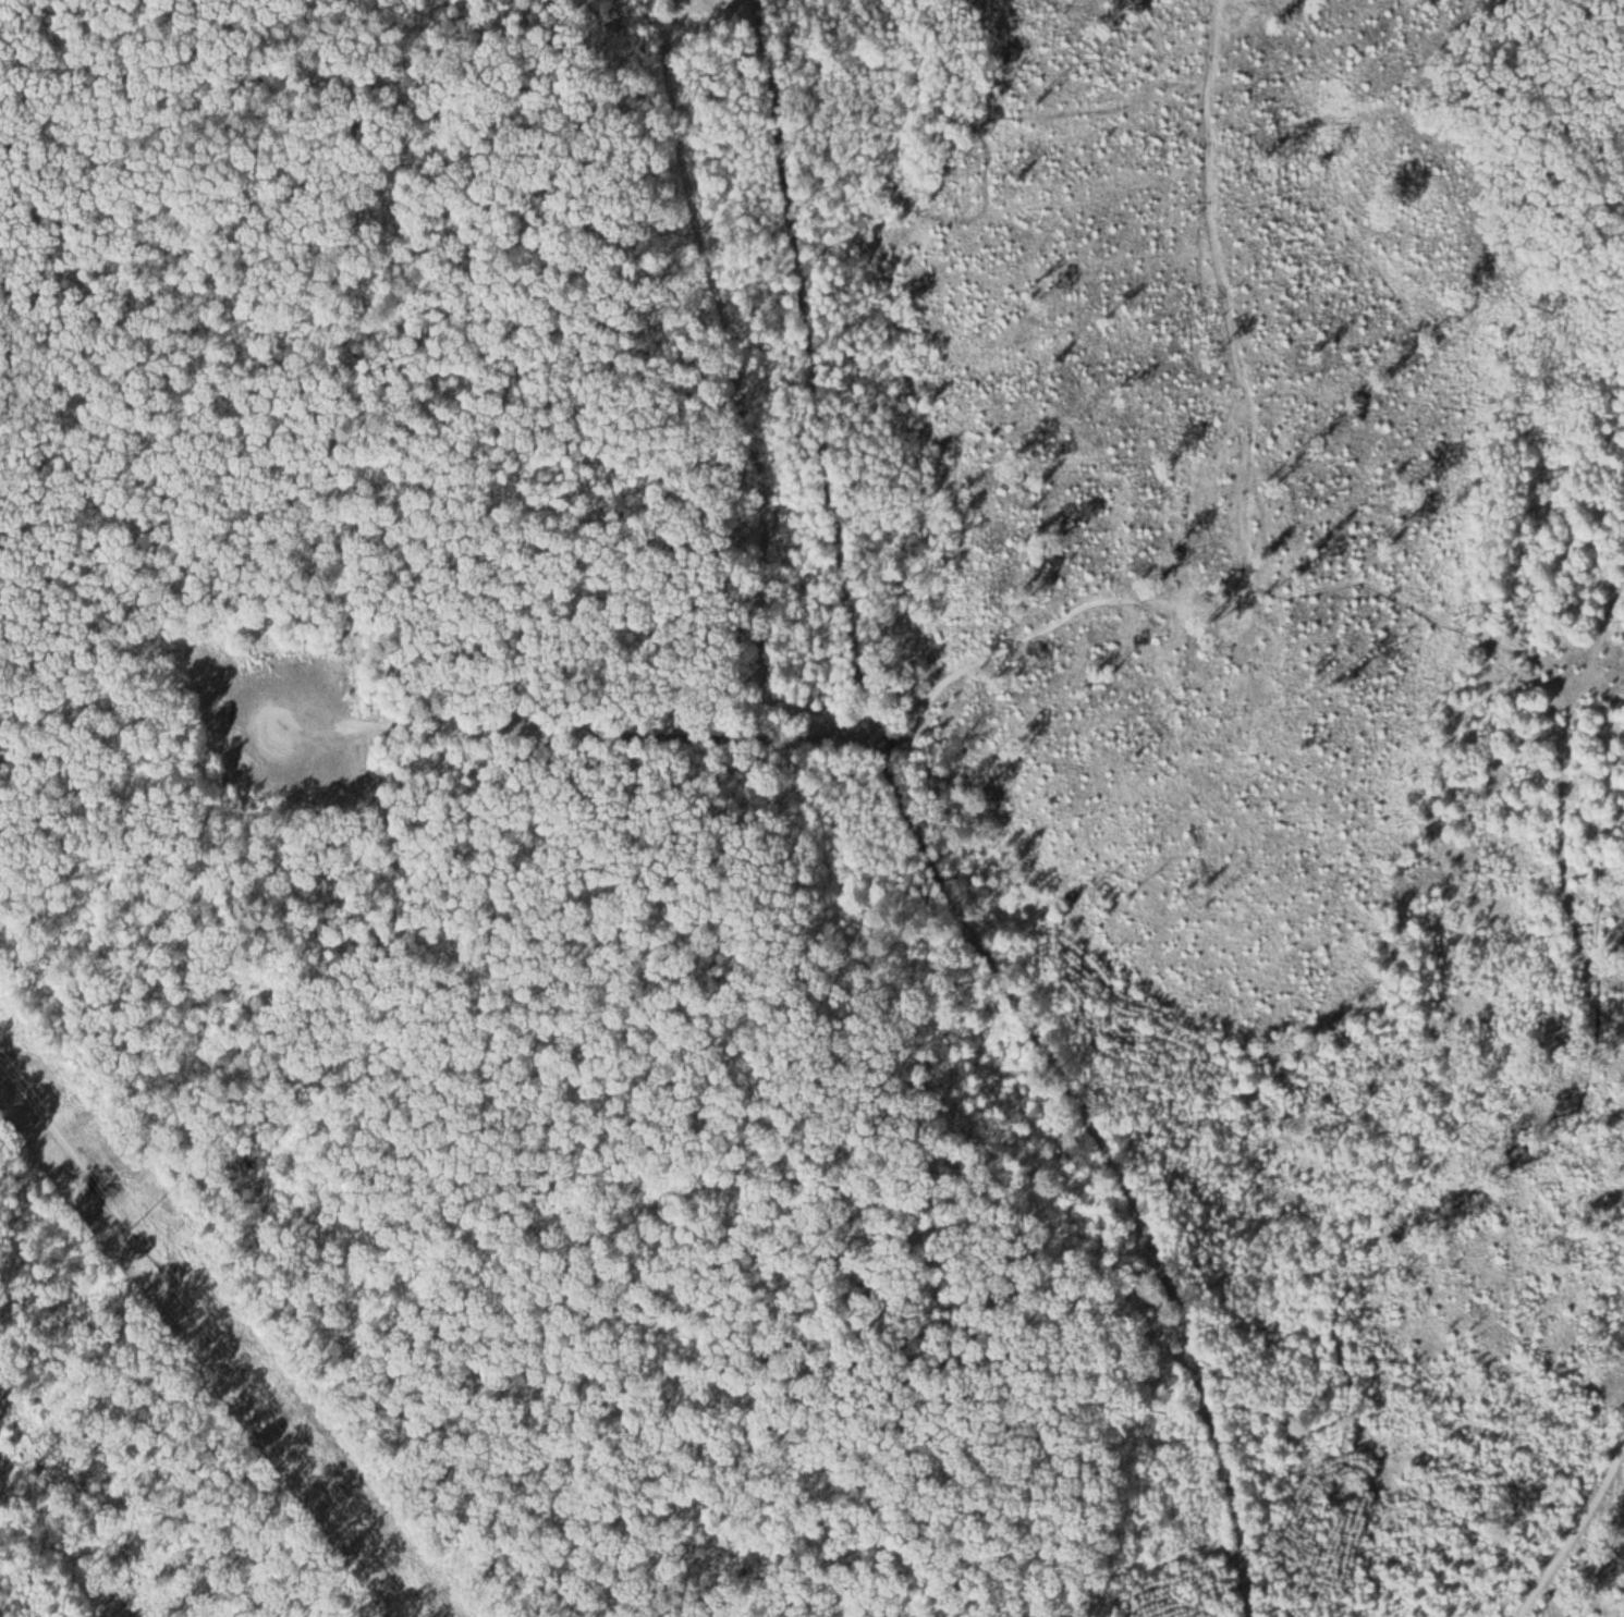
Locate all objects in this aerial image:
road: (599, 732)
petroleum well: (285, 737)
road: (921, 832)
road: (213, 1339)
road: (1210, 1407)
road: (1580, 1514)

